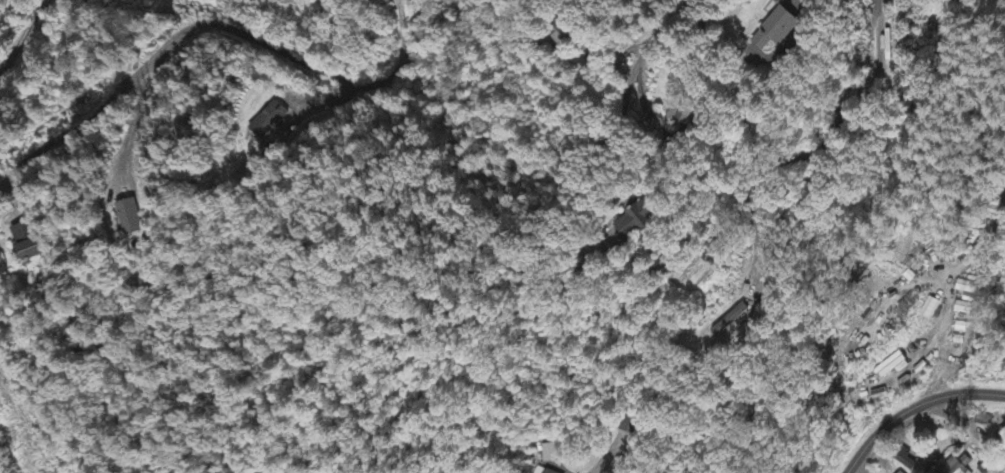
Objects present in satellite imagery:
road: (243, 16)
road: (218, 18)
road: (20, 27)
building: (780, 30)
road: (655, 50)
road: (134, 78)
building: (270, 121)
building: (130, 219)
building: (643, 219)
building: (27, 242)
building: (966, 289)
building: (732, 320)
road: (915, 408)
building: (549, 454)
building: (953, 468)
building: (549, 472)

